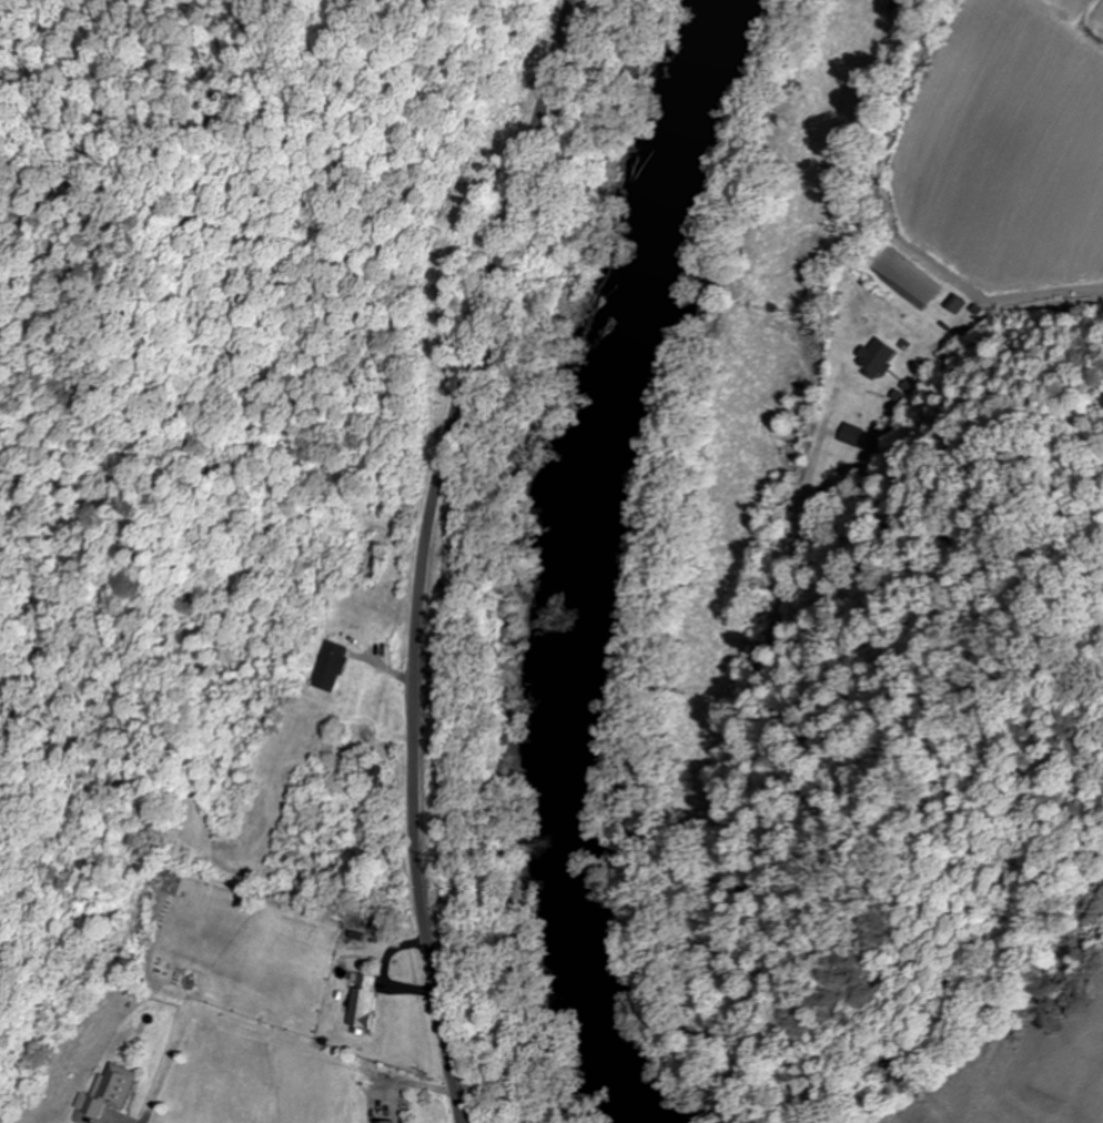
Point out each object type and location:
building: (954, 306)
building: (874, 357)
building: (850, 434)
road: (429, 553)
building: (371, 556)
river: (585, 558)
building: (336, 666)
building: (368, 778)
building: (362, 1002)
building: (109, 1092)
building: (389, 1122)

